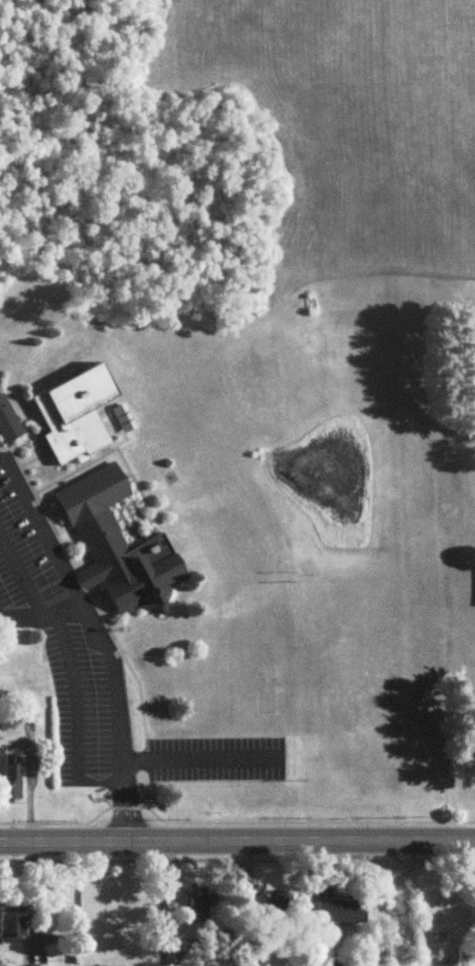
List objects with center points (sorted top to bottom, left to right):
building: (76, 415)
building: (8, 423)
building: (118, 547)
road: (21, 579)
road: (69, 610)
road: (89, 614)
road: (74, 692)
road: (199, 763)
building: (12, 781)
road: (30, 785)
road: (123, 812)
road: (237, 838)
road: (159, 893)
building: (202, 903)
building: (268, 909)
building: (341, 913)
building: (16, 915)
road: (52, 933)
building: (465, 955)

